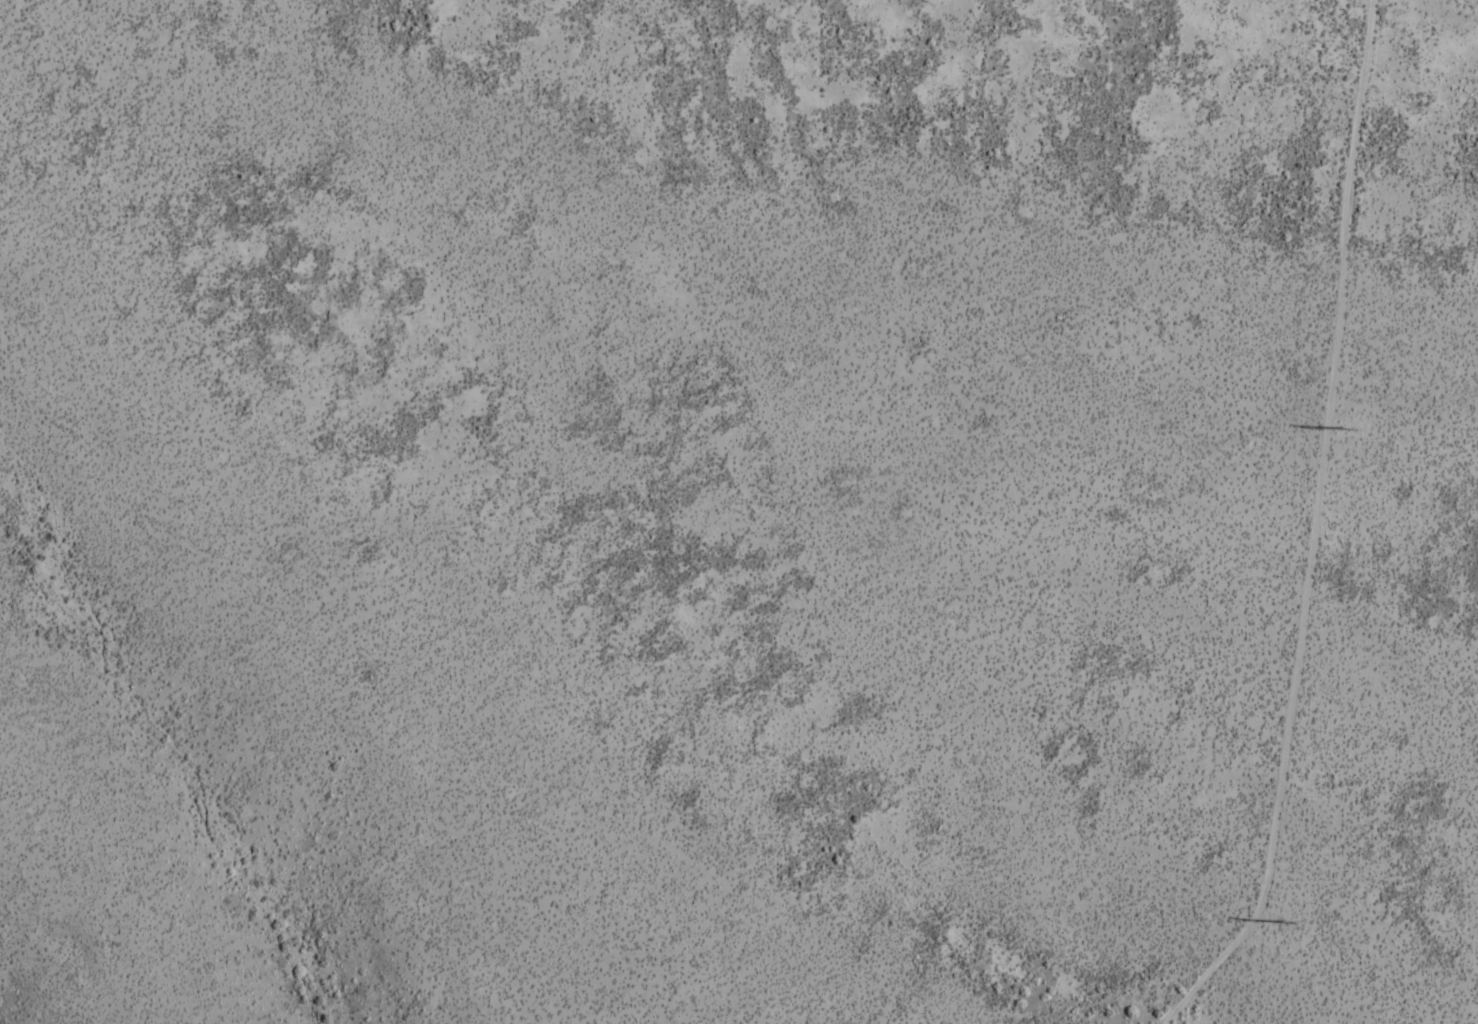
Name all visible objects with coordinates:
power tower: (1346, 427)
road: (1310, 531)
power tower: (1283, 918)

